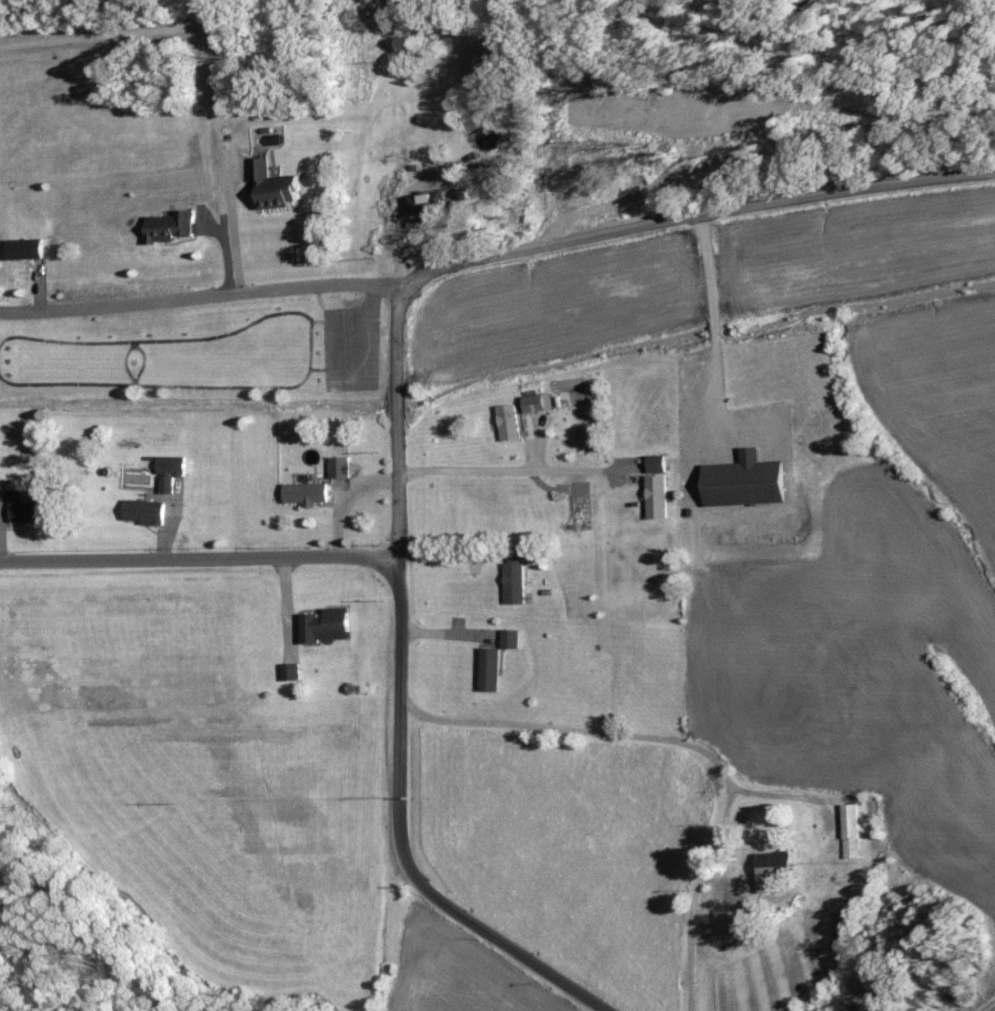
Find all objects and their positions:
road: (107, 32)
building: (496, 139)
building: (281, 185)
road: (694, 214)
building: (435, 217)
road: (230, 225)
building: (172, 227)
building: (31, 248)
road: (199, 297)
road: (311, 343)
parking lot: (351, 348)
road: (130, 349)
park: (205, 351)
building: (538, 403)
building: (510, 423)
building: (342, 467)
building: (172, 471)
building: (749, 482)
building: (659, 487)
building: (308, 493)
building: (24, 509)
building: (146, 512)
road: (400, 525)
road: (200, 559)
building: (516, 576)
building: (328, 625)
building: (512, 637)
building: (492, 668)
building: (761, 748)
building: (922, 755)
building: (853, 826)
building: (780, 869)
road: (463, 916)

